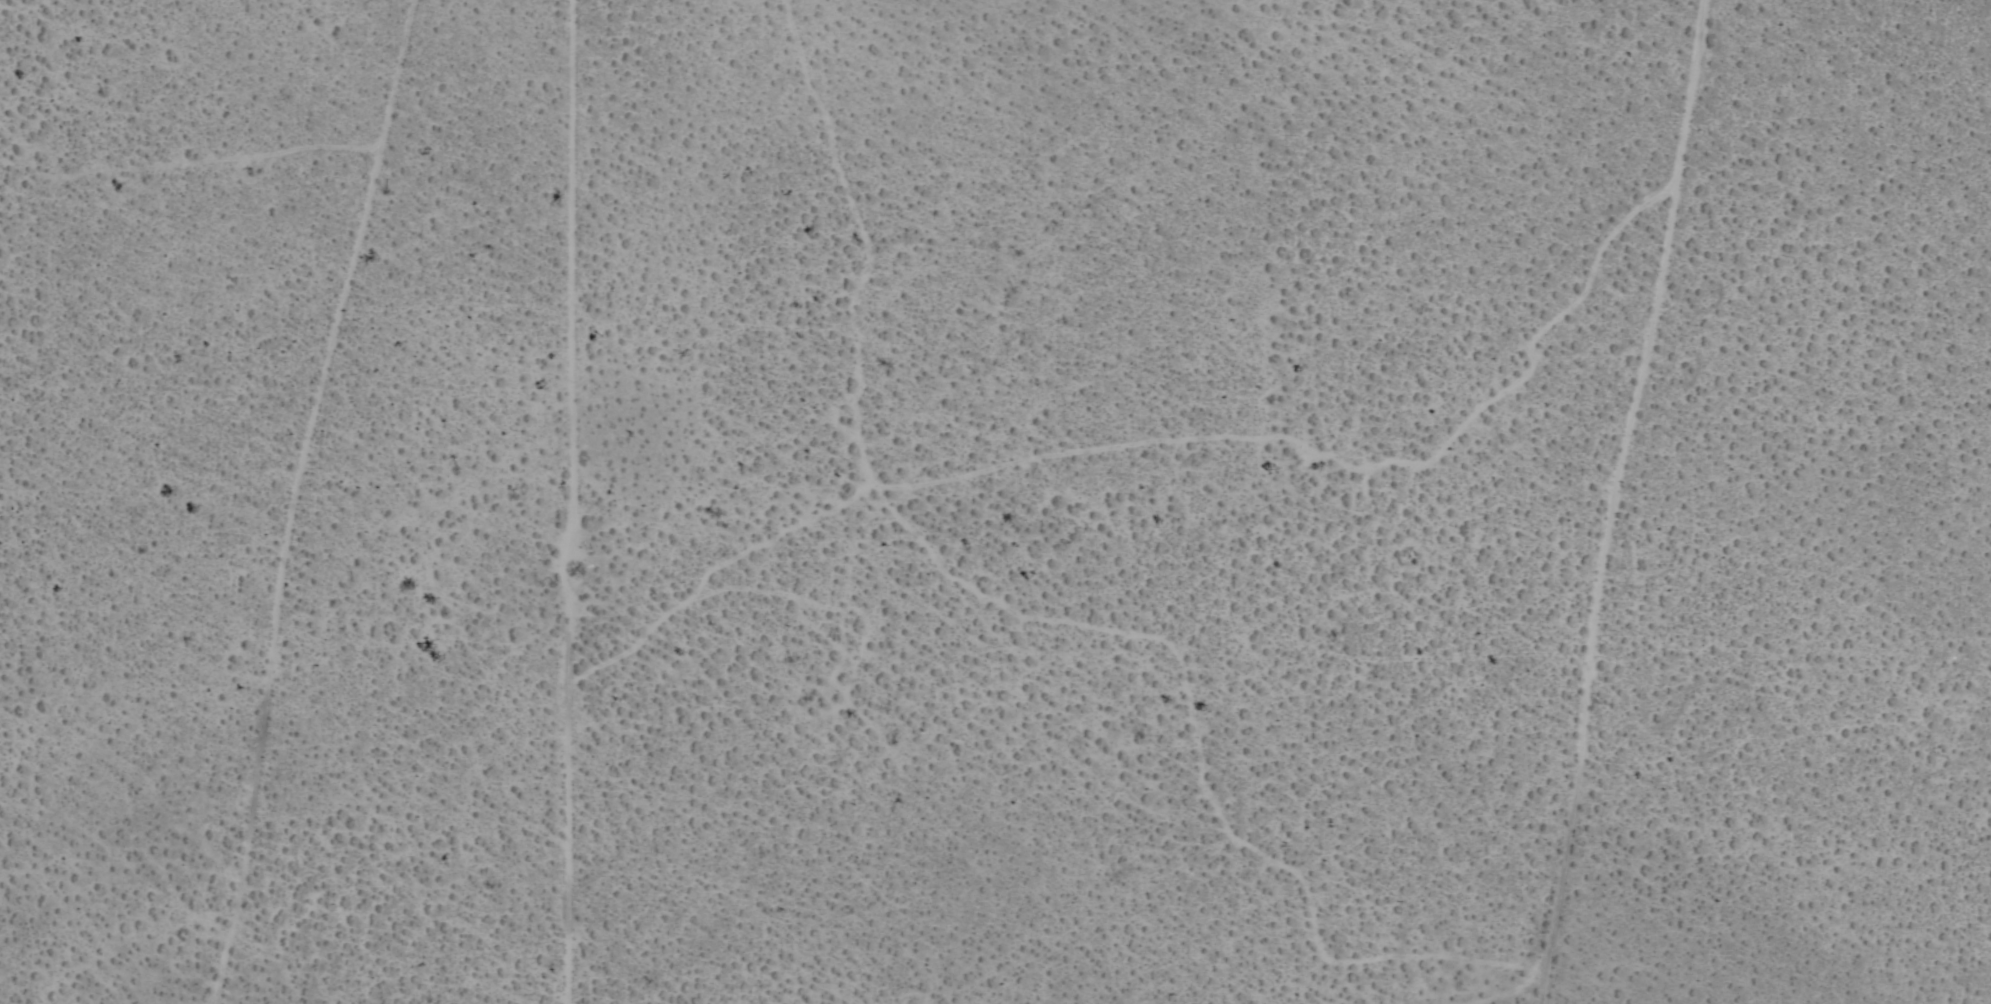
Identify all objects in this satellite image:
road: (559, 502)

